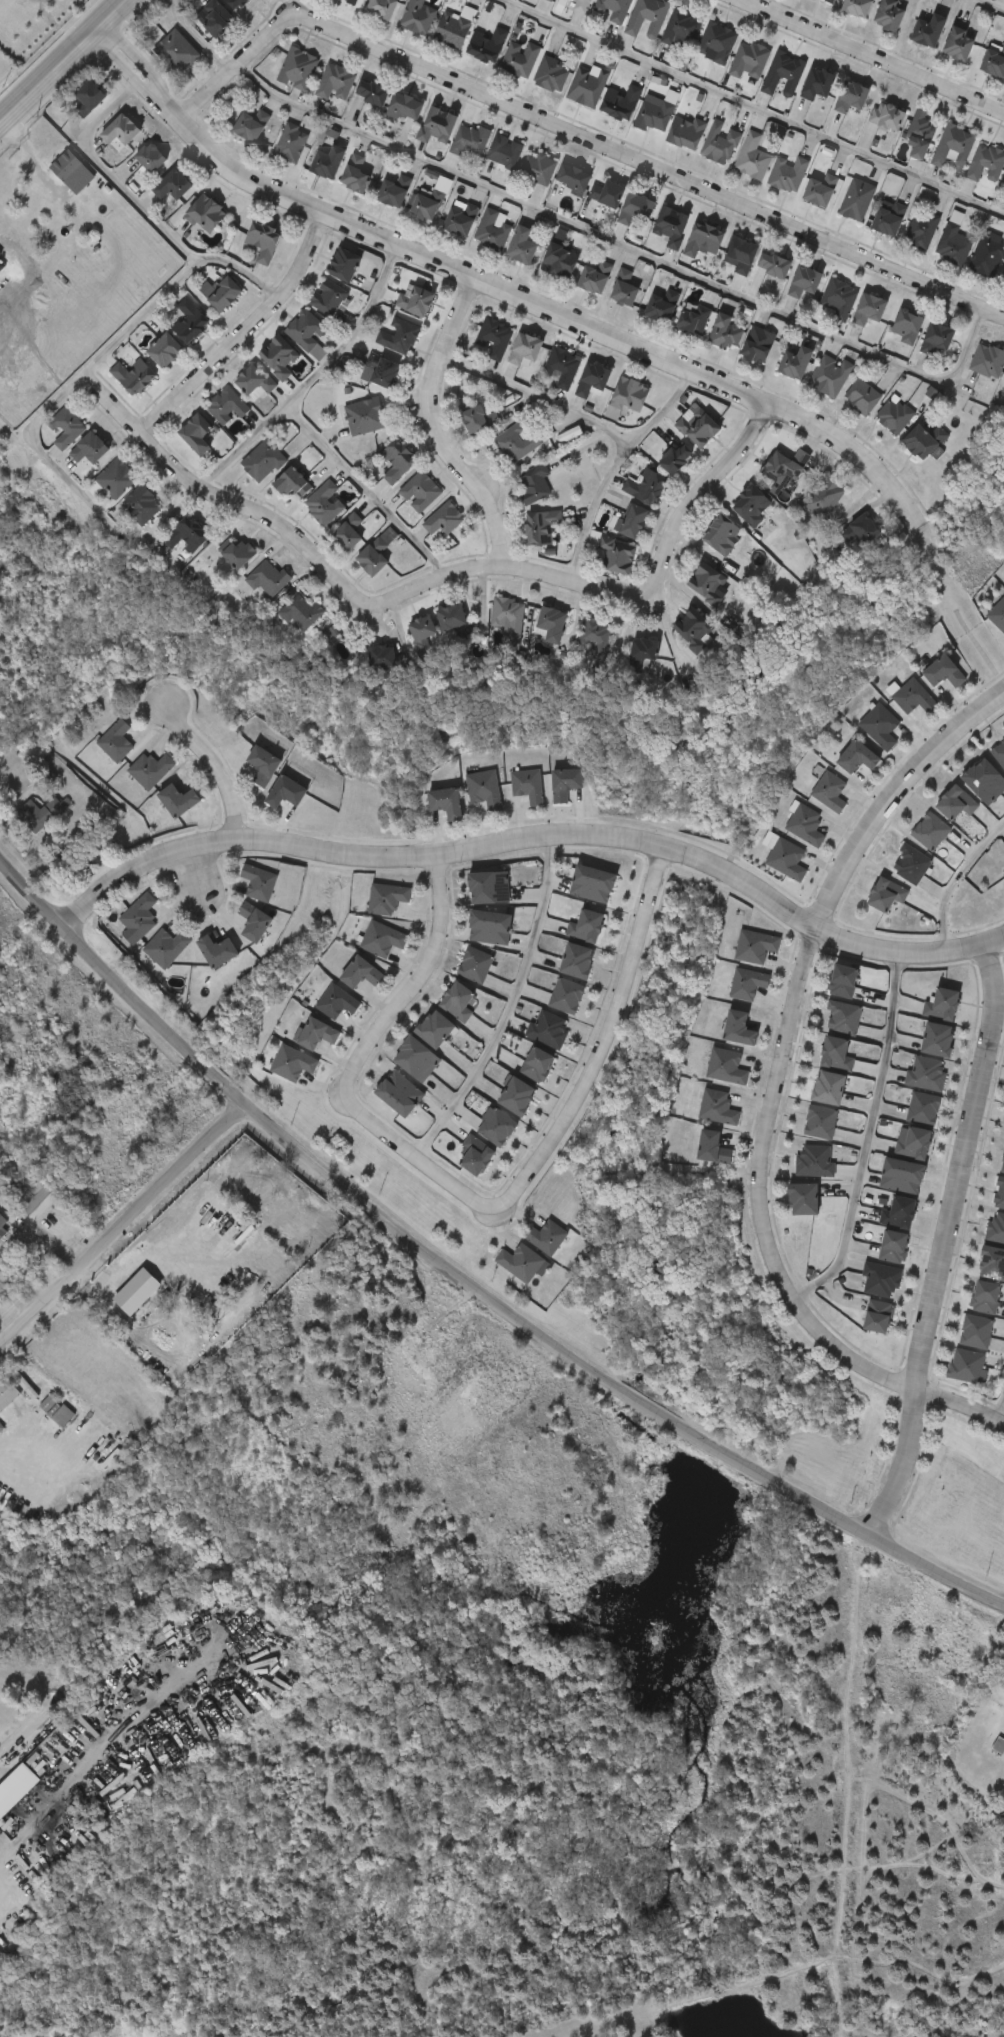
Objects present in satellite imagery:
building: (551, 0)
building: (349, 1)
building: (829, 1)
building: (231, 3)
road: (991, 5)
building: (580, 6)
building: (379, 8)
building: (856, 8)
building: (613, 9)
building: (887, 15)
building: (214, 18)
building: (416, 18)
building: (646, 19)
building: (450, 30)
building: (680, 30)
building: (927, 31)
road: (197, 39)
building: (716, 42)
building: (958, 43)
building: (485, 46)
building: (175, 51)
road: (870, 56)
building: (519, 60)
building: (748, 60)
building: (993, 61)
road: (64, 63)
building: (160, 66)
building: (296, 69)
building: (782, 74)
building: (550, 75)
building: (333, 83)
building: (816, 83)
building: (587, 86)
building: (368, 94)
building: (849, 97)
building: (91, 98)
building: (619, 101)
building: (402, 107)
road: (751, 108)
building: (71, 114)
building: (653, 114)
building: (885, 117)
building: (249, 125)
building: (434, 126)
building: (123, 132)
building: (684, 133)
building: (918, 135)
road: (579, 136)
building: (468, 141)
building: (289, 143)
building: (718, 144)
building: (952, 147)
building: (102, 148)
building: (502, 152)
building: (154, 158)
building: (751, 158)
building: (326, 160)
building: (985, 163)
building: (535, 168)
building: (133, 173)
building: (786, 173)
building: (352, 174)
building: (571, 180)
building: (48, 181)
building: (175, 185)
building: (393, 190)
building: (818, 190)
building: (603, 194)
building: (856, 200)
road: (142, 205)
building: (425, 205)
building: (635, 207)
building: (209, 214)
building: (889, 216)
building: (458, 219)
building: (669, 226)
building: (921, 230)
building: (489, 231)
building: (701, 240)
building: (266, 241)
road: (623, 243)
building: (952, 245)
building: (519, 246)
building: (738, 255)
building: (987, 258)
building: (556, 261)
building: (345, 264)
building: (771, 265)
building: (802, 282)
building: (622, 288)
road: (500, 289)
building: (224, 294)
building: (328, 297)
building: (837, 298)
building: (419, 301)
building: (658, 307)
building: (867, 309)
road: (141, 313)
building: (691, 318)
building: (192, 321)
building: (904, 326)
building: (305, 329)
road: (244, 333)
building: (724, 333)
building: (400, 335)
building: (492, 337)
building: (934, 338)
building: (756, 344)
building: (522, 349)
building: (168, 351)
building: (279, 355)
building: (795, 355)
building: (986, 360)
building: (560, 366)
building: (384, 371)
building: (134, 375)
road: (311, 375)
building: (828, 375)
building: (589, 378)
building: (1002, 379)
building: (254, 381)
building: (116, 392)
building: (624, 396)
road: (539, 397)
building: (859, 397)
building: (227, 405)
building: (363, 415)
building: (892, 415)
building: (475, 418)
building: (67, 427)
road: (438, 427)
building: (696, 427)
building: (198, 434)
building: (921, 440)
building: (516, 441)
building: (48, 443)
building: (92, 449)
building: (672, 456)
building: (263, 461)
building: (395, 462)
building: (72, 465)
building: (778, 467)
road: (615, 468)
building: (117, 479)
building: (290, 483)
building: (532, 483)
building: (643, 486)
road: (81, 488)
road: (365, 489)
building: (419, 492)
building: (822, 497)
building: (324, 504)
building: (748, 504)
building: (141, 505)
building: (126, 507)
building: (443, 520)
building: (629, 520)
building: (539, 526)
building: (861, 528)
building: (347, 532)
building: (183, 534)
building: (719, 534)
building: (169, 551)
building: (236, 552)
building: (614, 554)
building: (372, 557)
building: (265, 579)
road: (433, 579)
building: (701, 581)
building: (296, 612)
building: (506, 615)
building: (998, 615)
building: (448, 617)
building: (548, 624)
building: (691, 629)
building: (422, 631)
building: (594, 636)
building: (640, 649)
building: (377, 656)
building: (943, 672)
building: (913, 697)
building: (881, 727)
building: (114, 741)
building: (999, 754)
building: (98, 757)
building: (857, 757)
building: (262, 764)
road: (219, 767)
building: (148, 769)
building: (985, 781)
building: (562, 784)
building: (527, 786)
building: (484, 790)
building: (287, 792)
building: (831, 792)
road: (892, 797)
building: (179, 799)
building: (445, 803)
building: (957, 804)
building: (33, 815)
building: (806, 826)
building: (22, 828)
building: (932, 833)
road: (533, 840)
building: (788, 860)
building: (912, 865)
road: (200, 873)
road: (954, 879)
building: (259, 883)
building: (592, 884)
building: (487, 888)
building: (887, 896)
building: (386, 898)
building: (138, 917)
building: (256, 921)
building: (586, 926)
building: (487, 928)
building: (121, 932)
building: (382, 938)
building: (164, 947)
building: (755, 947)
building: (218, 951)
building: (576, 961)
building: (473, 966)
building: (362, 973)
building: (843, 982)
building: (748, 984)
building: (566, 996)
building: (458, 1001)
building: (336, 1002)
road: (506, 1005)
building: (944, 1005)
building: (844, 1019)
building: (435, 1029)
building: (549, 1029)
building: (738, 1029)
building: (318, 1033)
road: (599, 1041)
building: (938, 1041)
building: (835, 1055)
road: (359, 1059)
building: (416, 1059)
building: (291, 1063)
building: (537, 1064)
building: (725, 1068)
building: (928, 1075)
building: (827, 1089)
building: (399, 1094)
building: (516, 1096)
building: (716, 1108)
building: (924, 1109)
building: (819, 1123)
road: (768, 1124)
building: (497, 1127)
road: (867, 1137)
building: (914, 1143)
building: (711, 1148)
building: (472, 1156)
building: (813, 1161)
building: (1002, 1166)
building: (901, 1177)
building: (37, 1198)
building: (801, 1199)
road: (188, 1206)
building: (898, 1213)
building: (5, 1220)
road: (124, 1225)
building: (996, 1228)
building: (544, 1237)
road: (948, 1242)
road: (47, 1243)
building: (892, 1247)
building: (518, 1263)
building: (991, 1264)
building: (880, 1281)
road: (464, 1284)
building: (138, 1292)
building: (984, 1298)
building: (121, 1308)
building: (876, 1317)
building: (975, 1333)
building: (965, 1366)
road: (895, 1380)
building: (7, 1394)
building: (58, 1410)
road: (999, 1410)
building: (30, 1418)
building: (44, 1430)
road: (15, 1433)
building: (93, 1434)
road: (874, 1660)
building: (1003, 1690)
building: (922, 1694)
road: (108, 1739)
building: (999, 1748)
building: (8, 1795)

